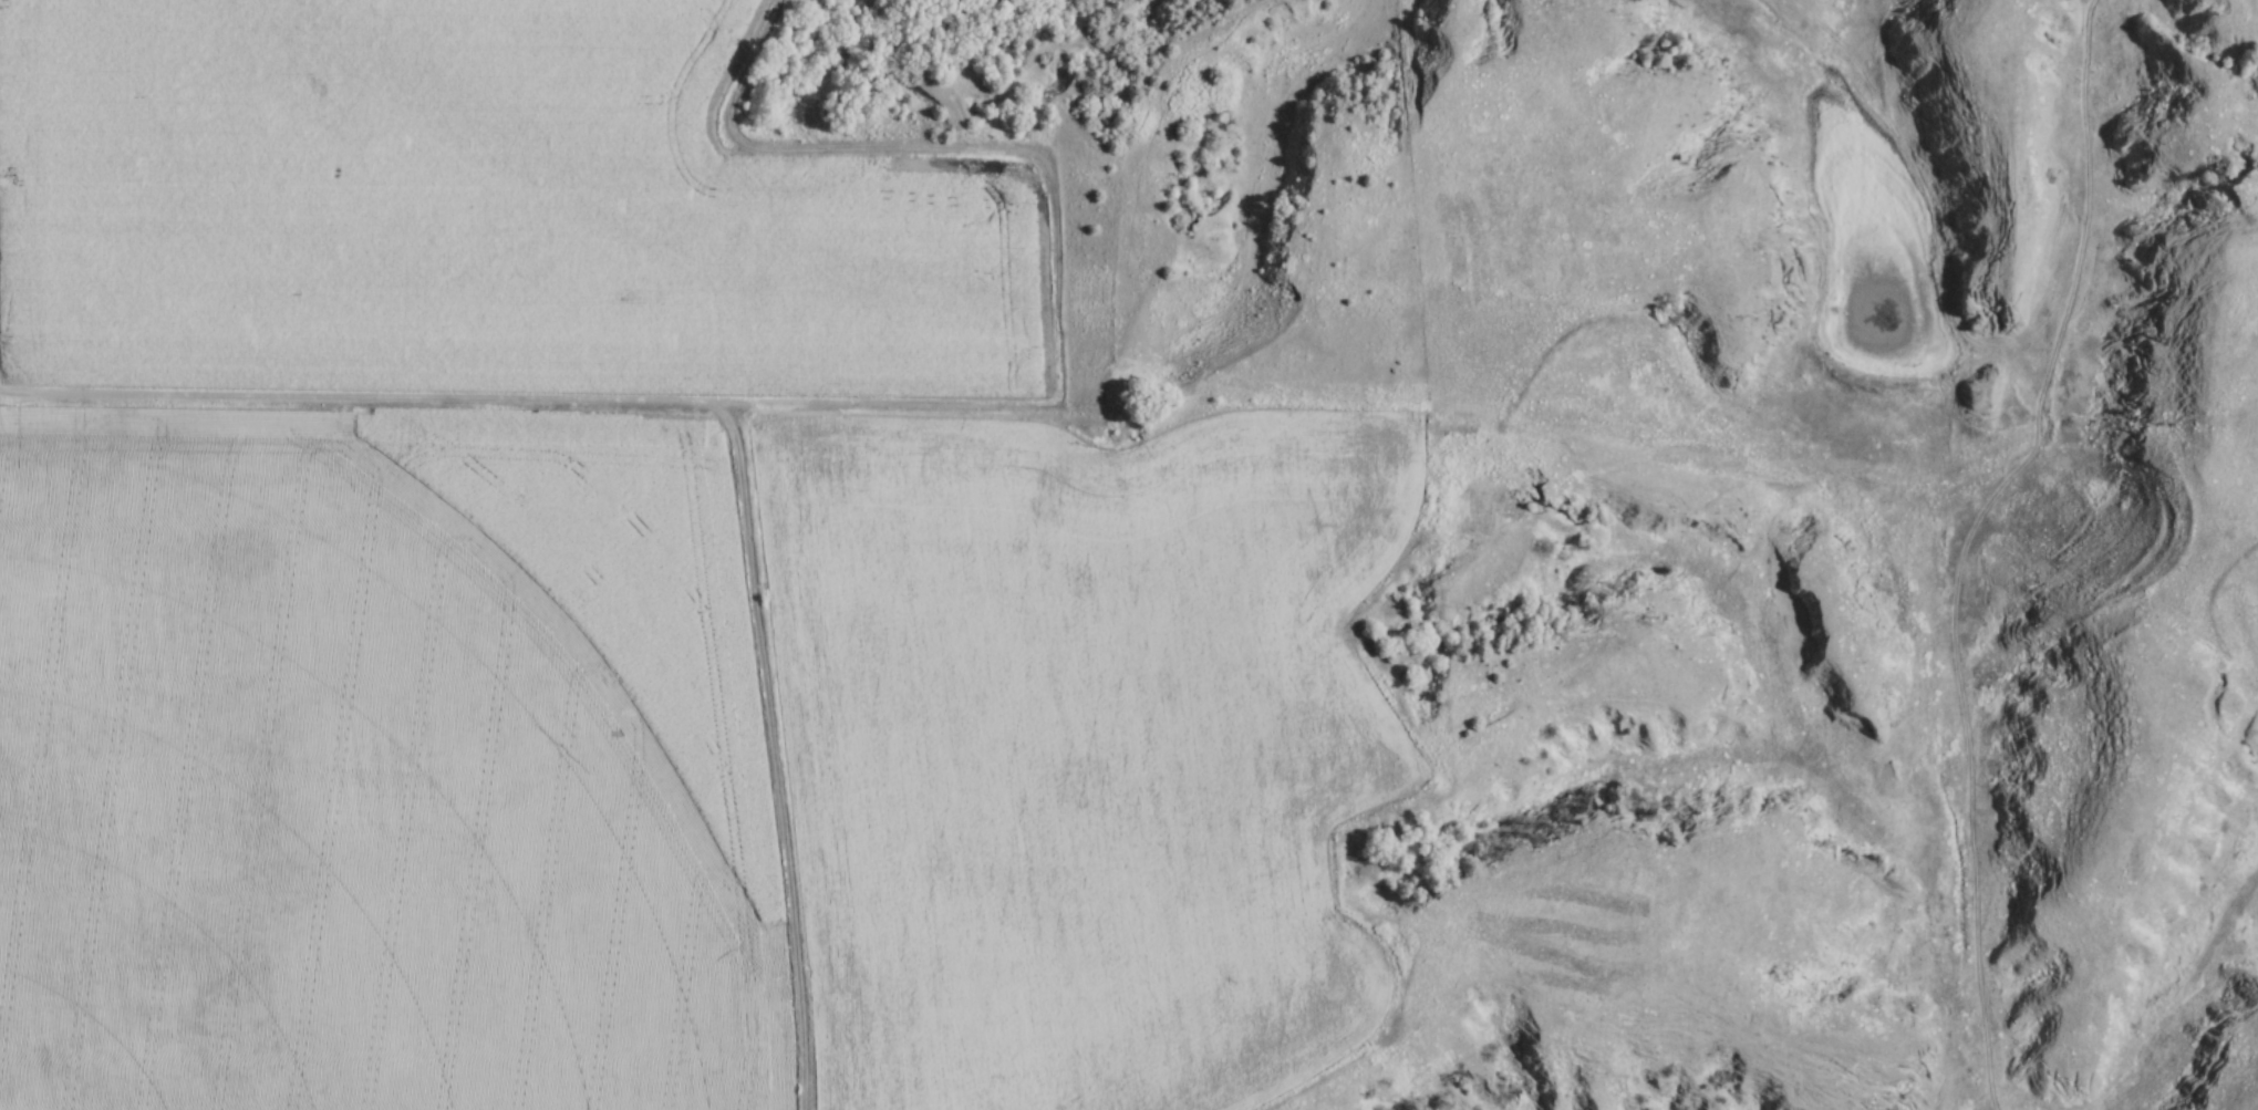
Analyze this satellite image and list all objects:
crop: (474, 211)
crop: (321, 807)

